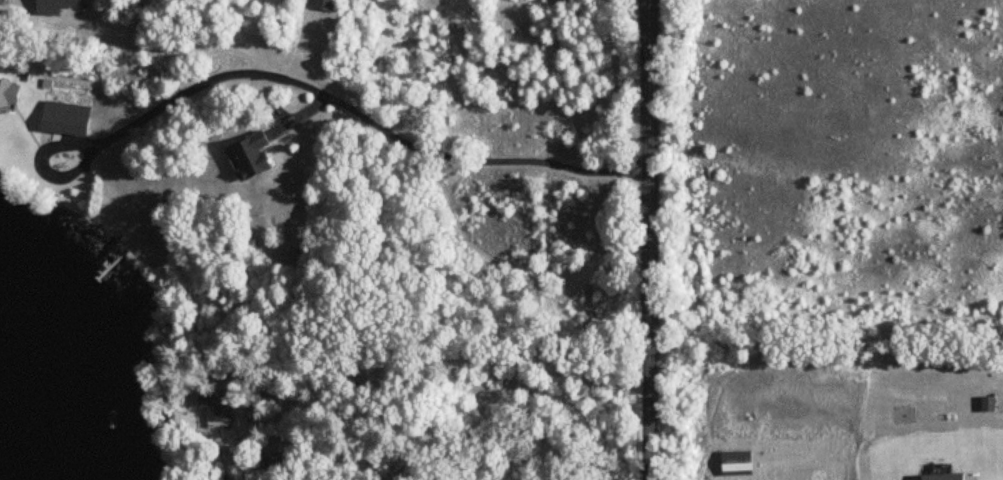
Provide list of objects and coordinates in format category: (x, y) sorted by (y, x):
building: (325, 5)
building: (51, 6)
building: (6, 94)
road: (340, 103)
building: (62, 118)
building: (247, 155)
road: (649, 239)
road: (407, 360)
road: (646, 386)
building: (220, 405)
building: (271, 465)

